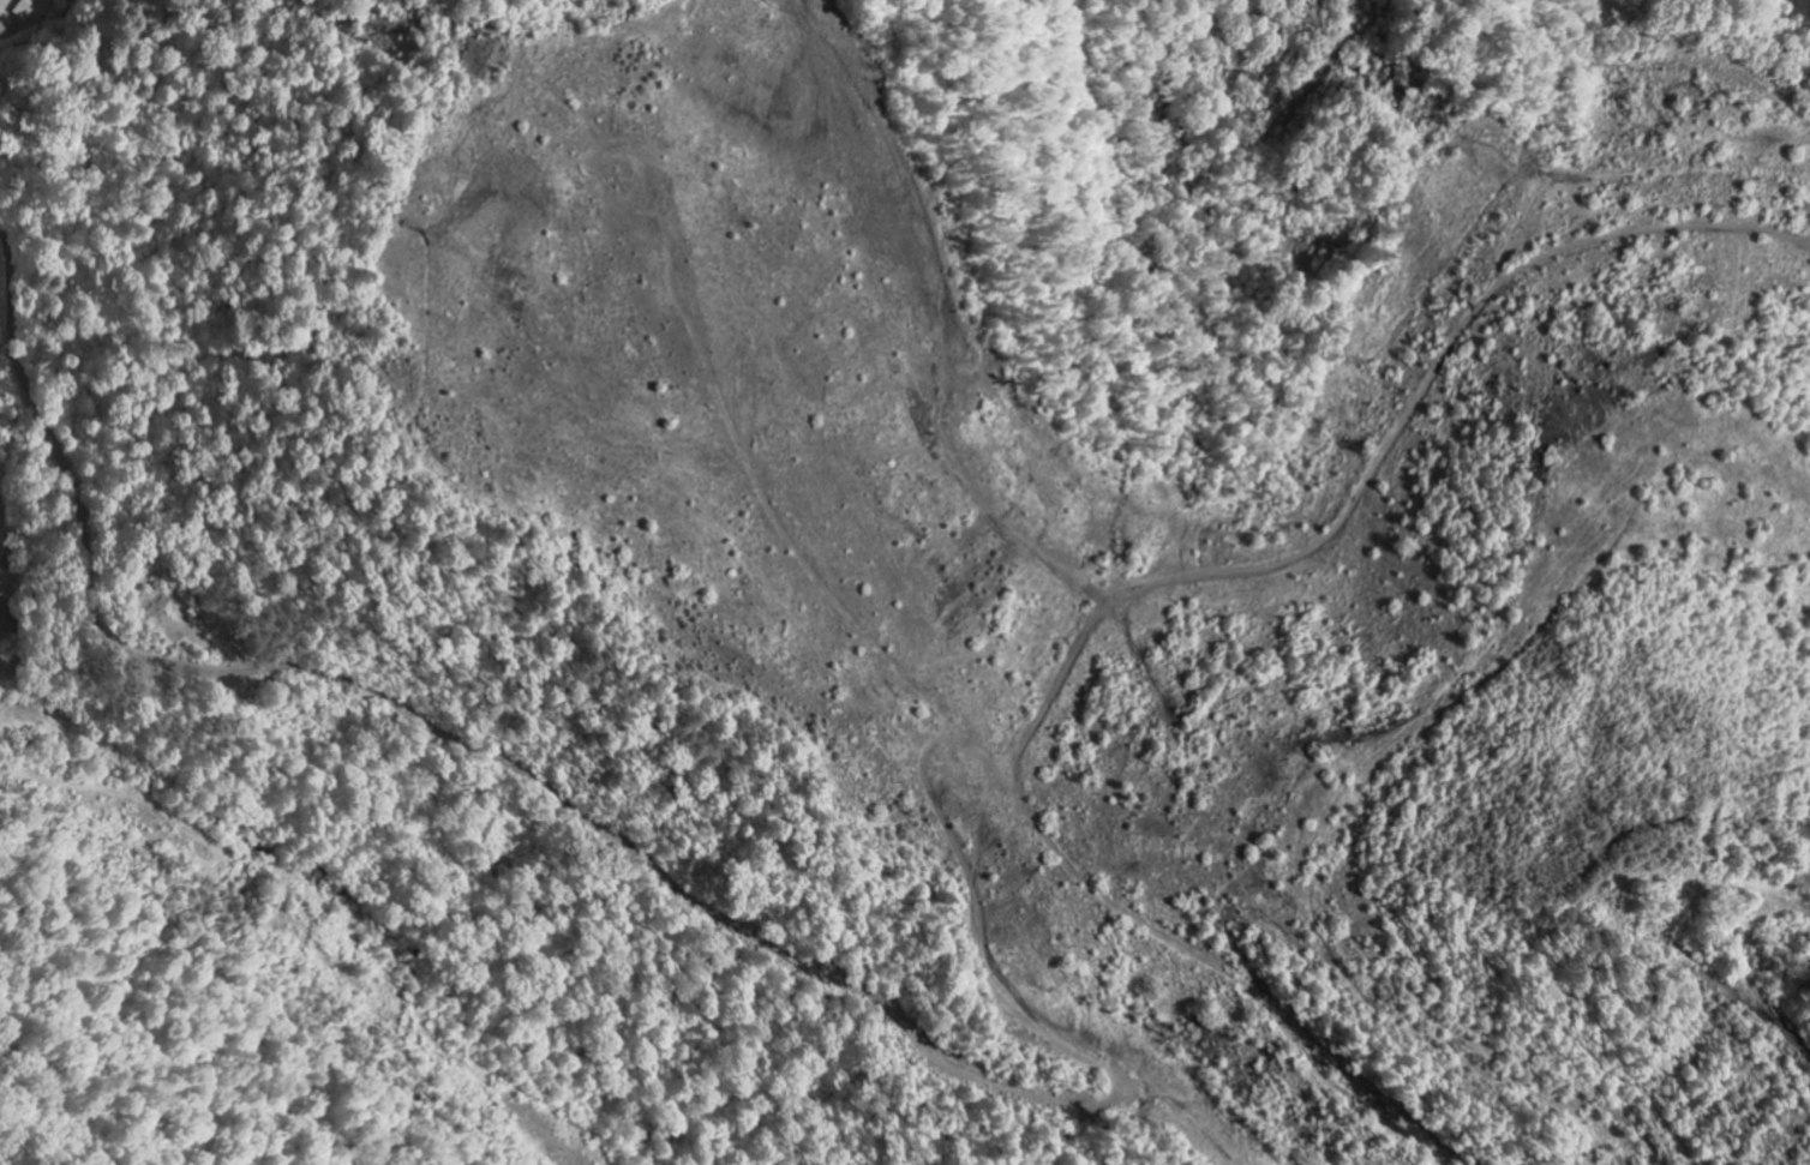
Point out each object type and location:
building: (32, 10)

